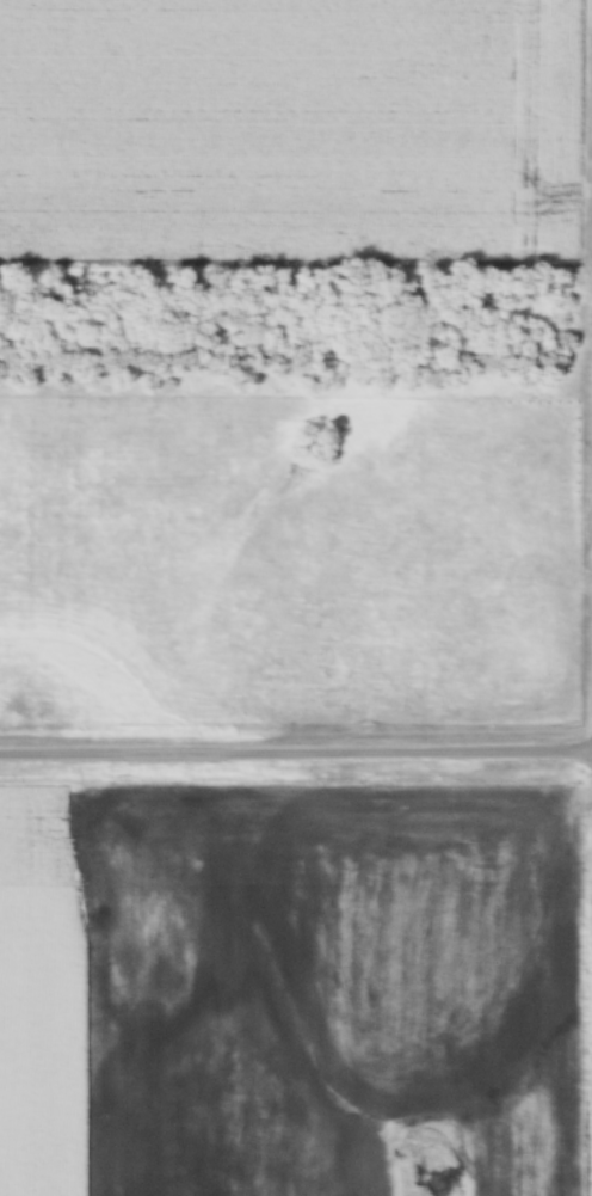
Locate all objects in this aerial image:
road: (296, 754)

